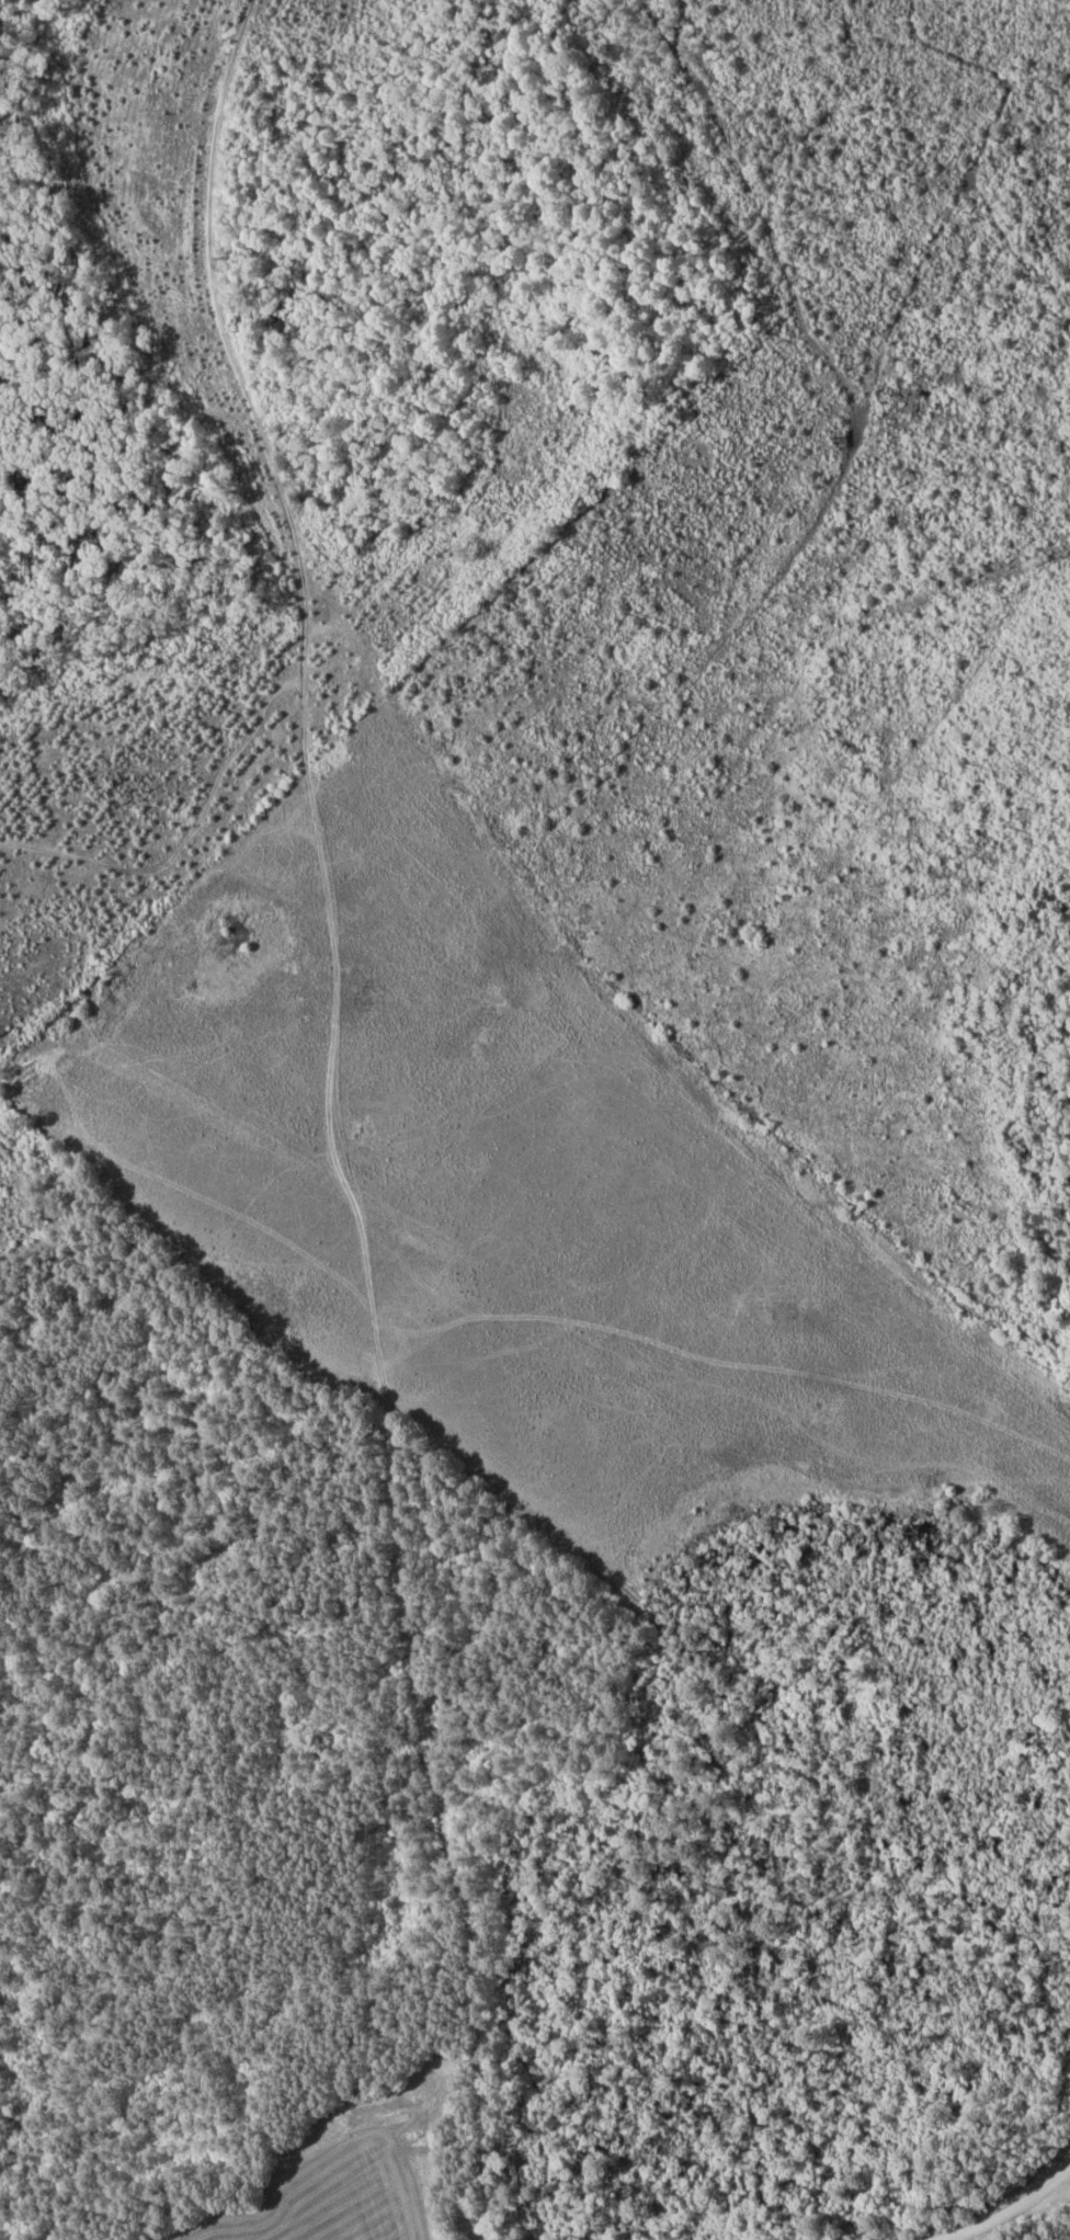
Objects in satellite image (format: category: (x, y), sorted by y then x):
road: (1001, 2211)

